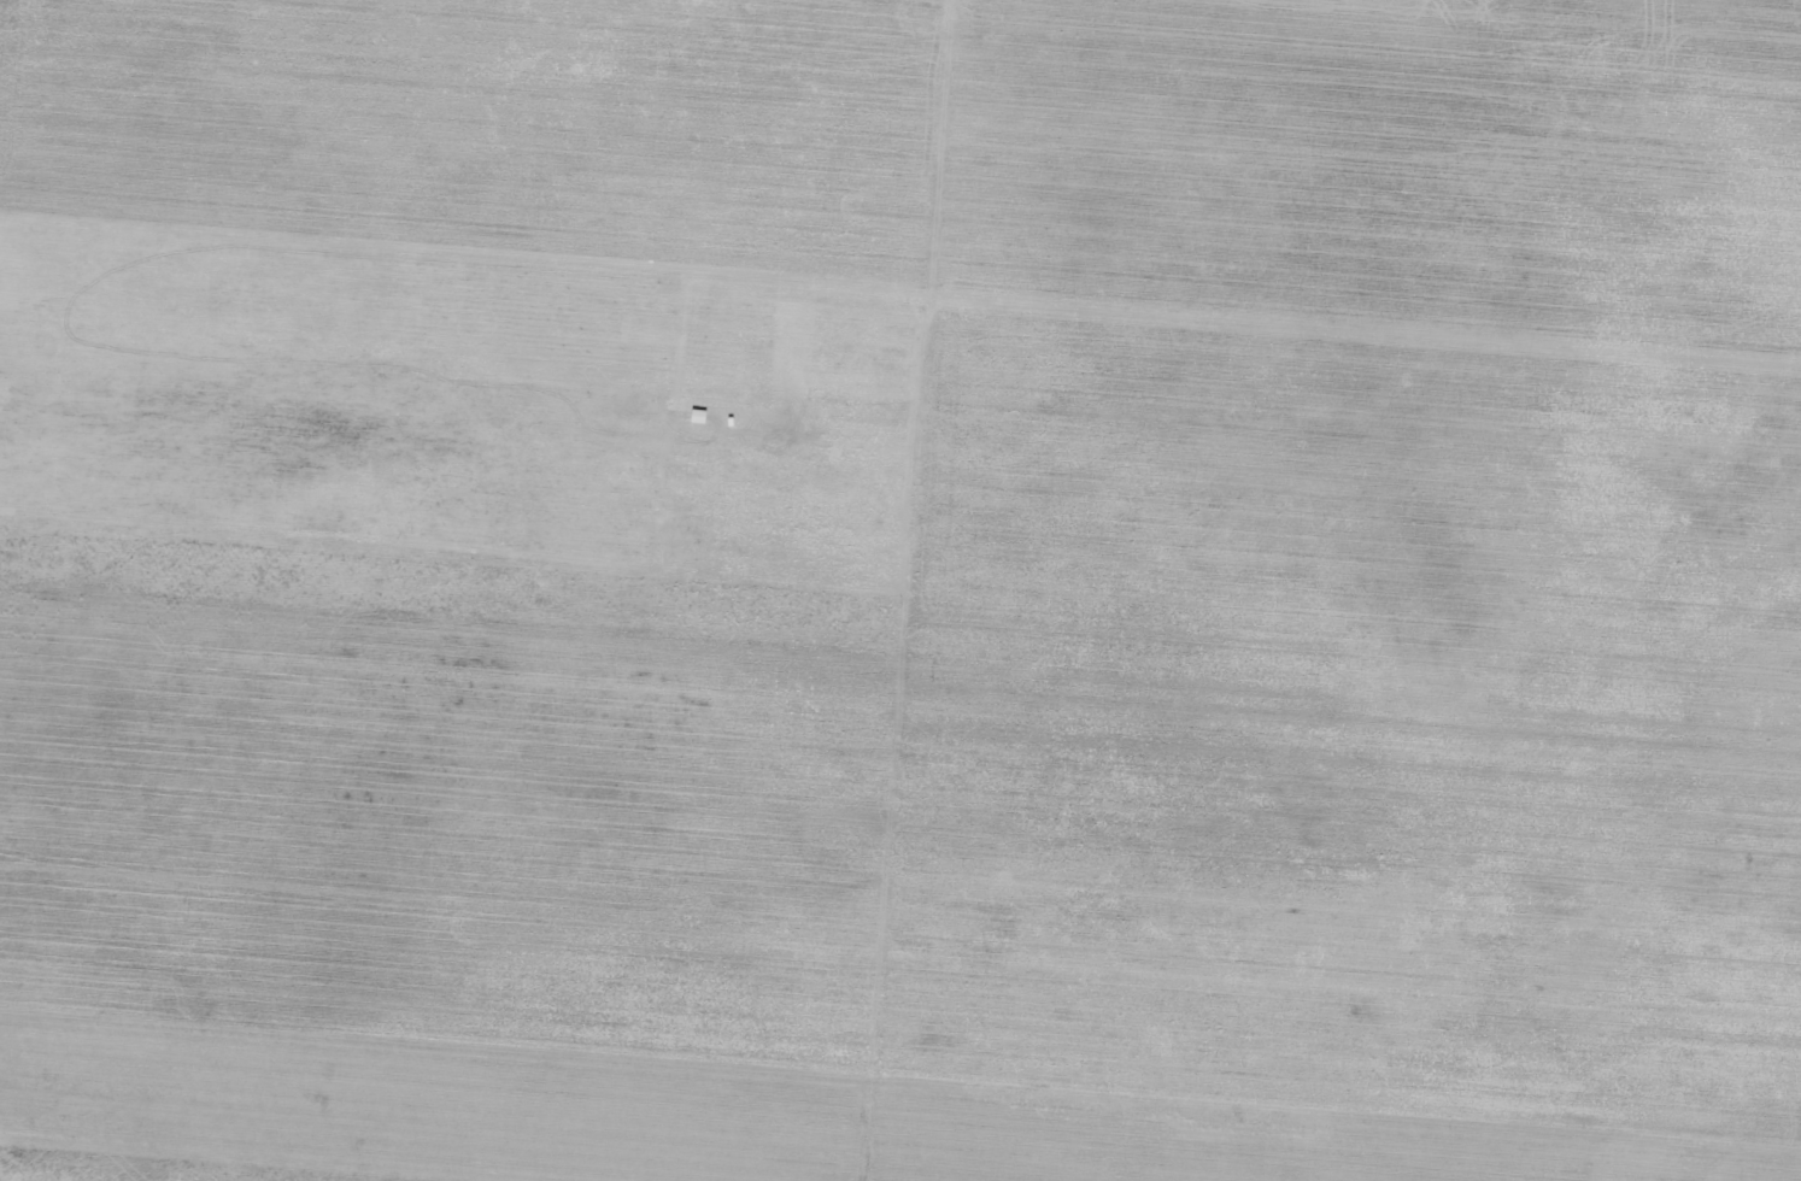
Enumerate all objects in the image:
road: (39, 429)

